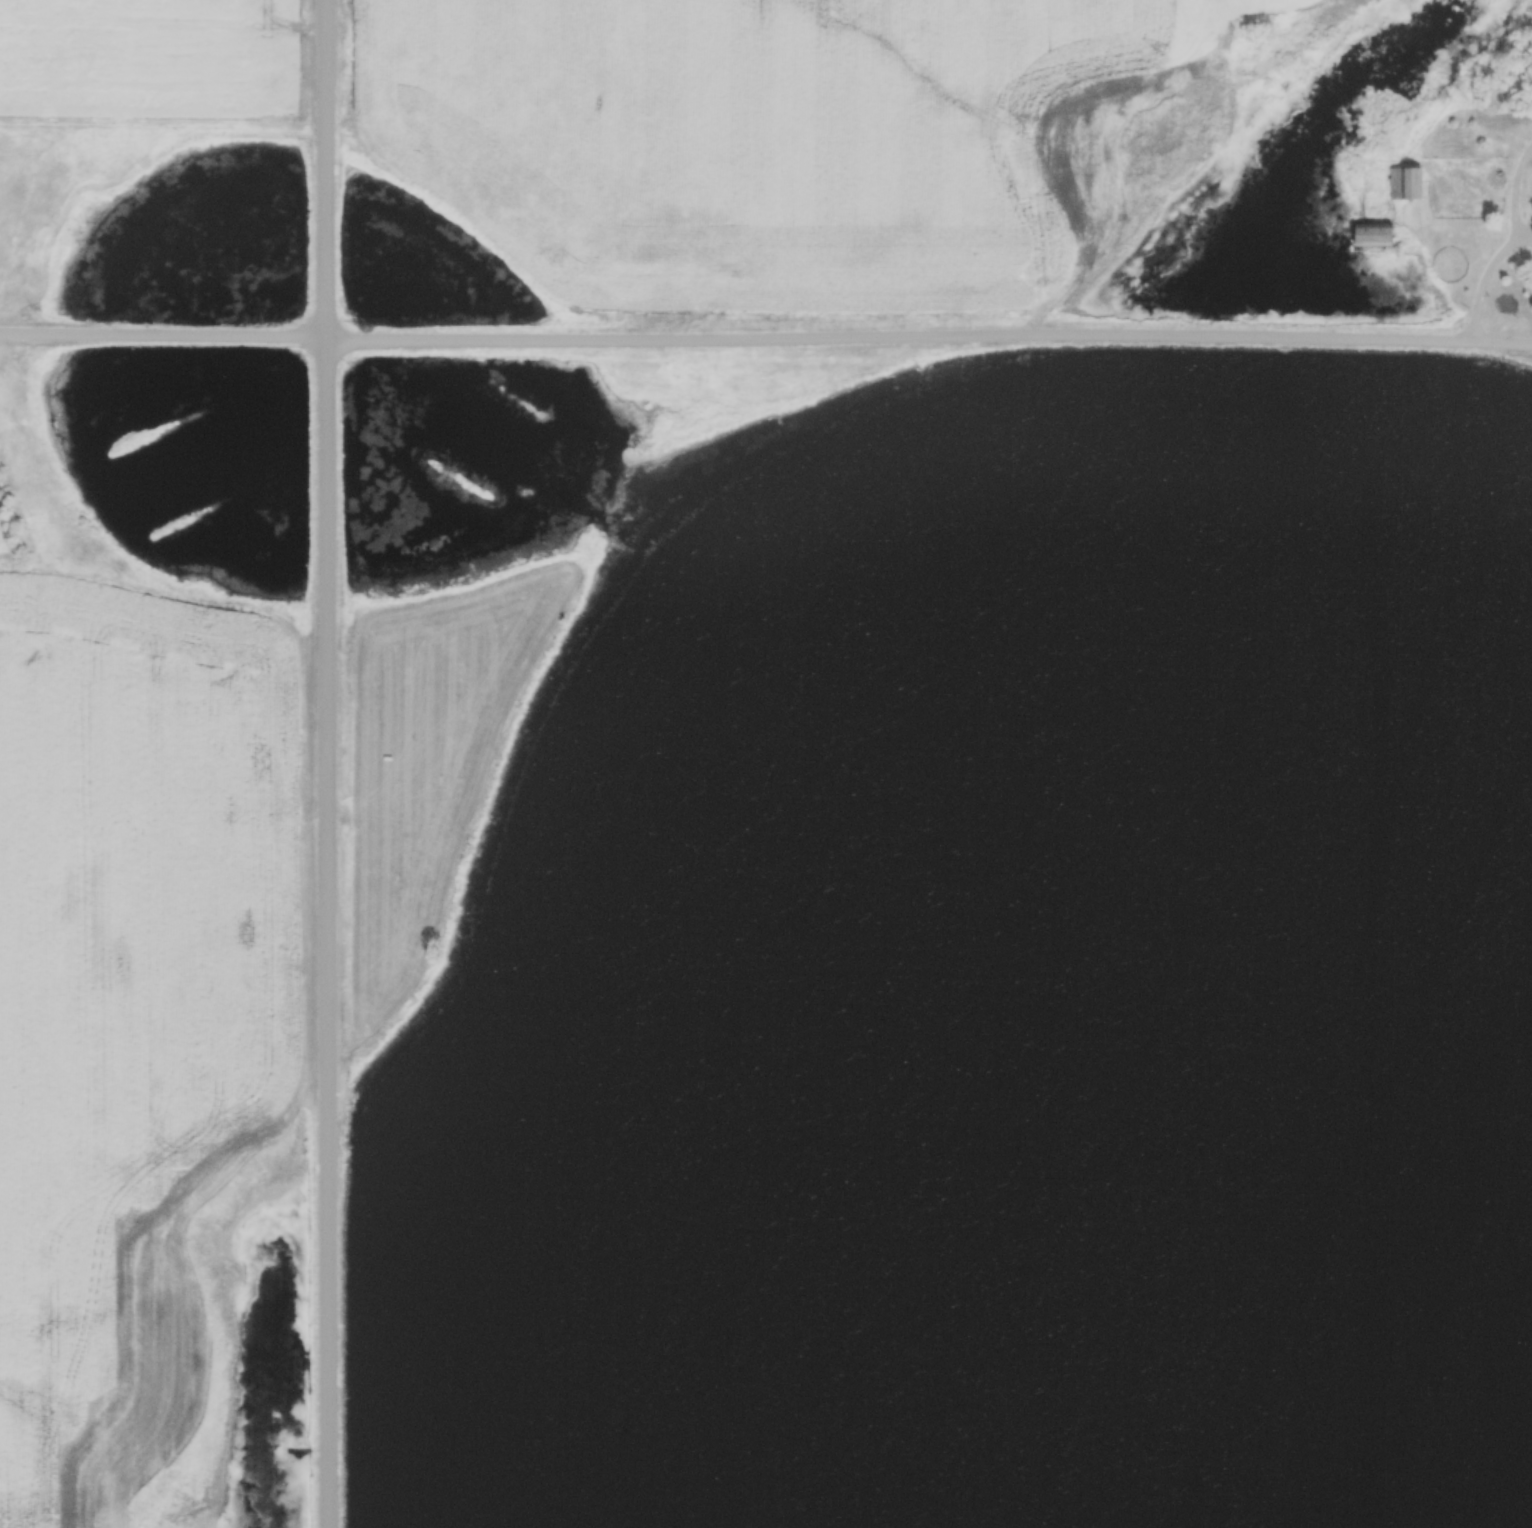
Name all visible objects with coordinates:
building: (1405, 185)
building: (1374, 236)
road: (1484, 282)
road: (766, 342)
road: (330, 764)

